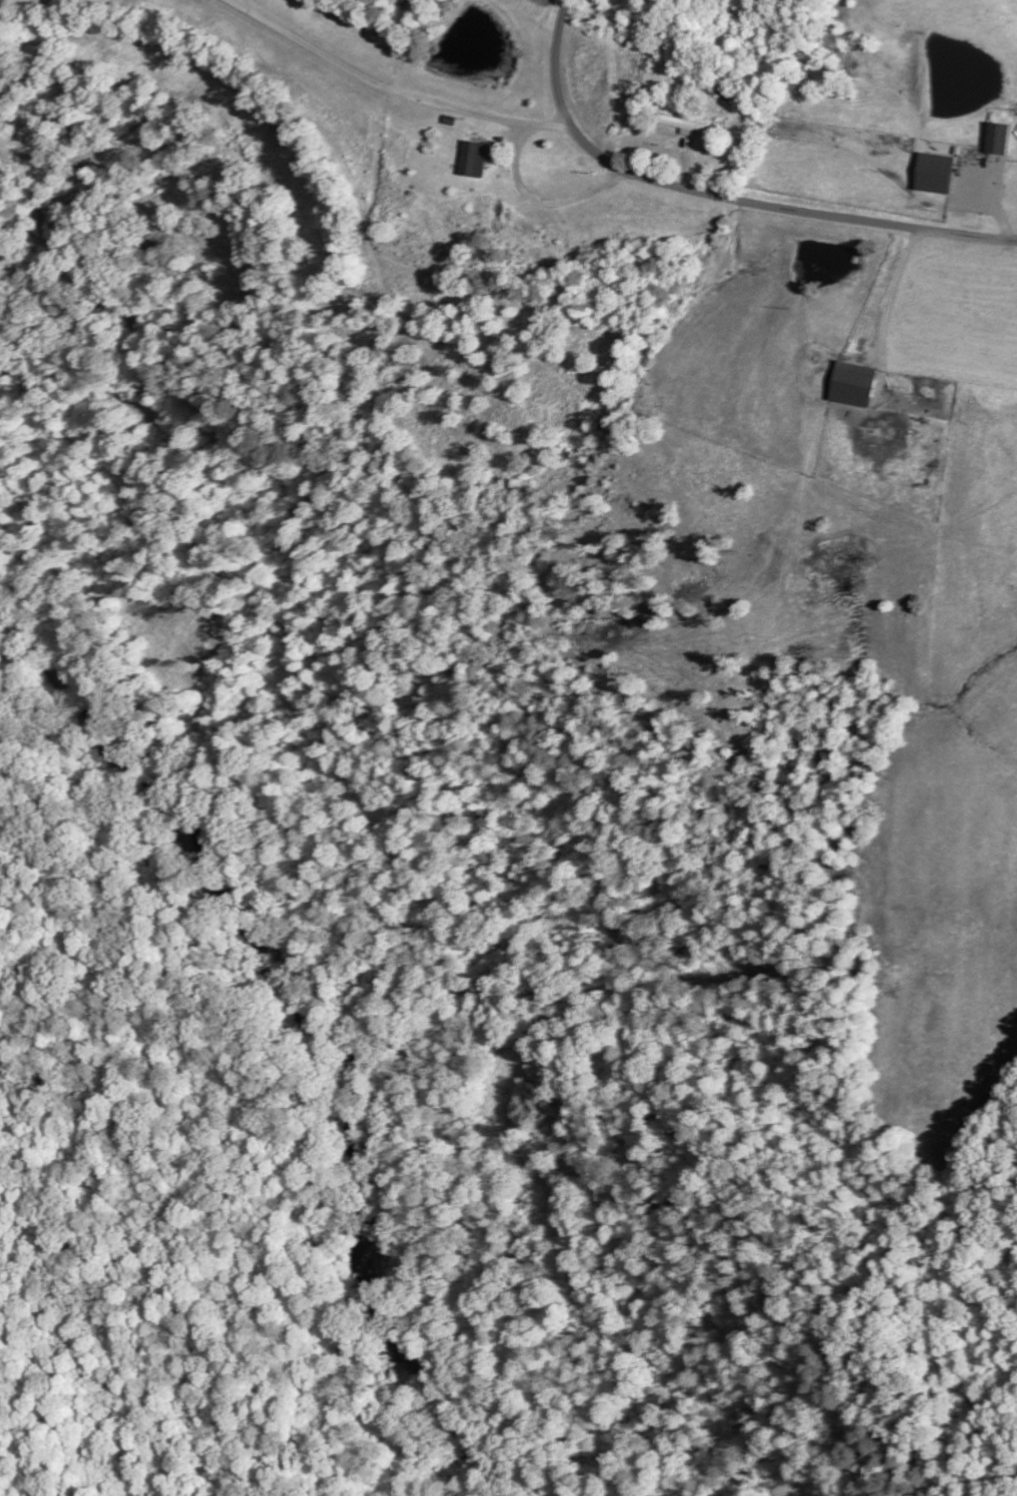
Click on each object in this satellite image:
building: (691, 124)
building: (1005, 138)
building: (481, 158)
building: (944, 173)
road: (722, 195)
building: (863, 384)

